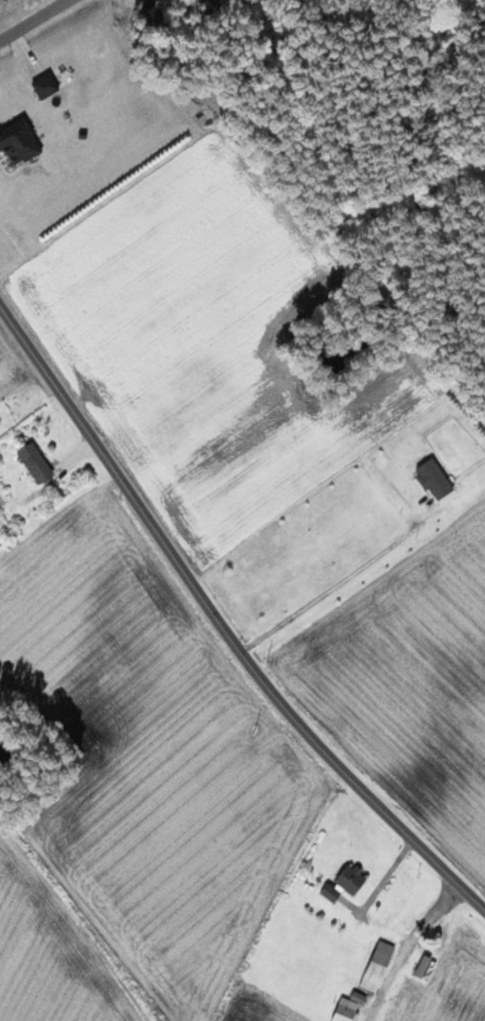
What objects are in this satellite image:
road: (34, 21)
building: (47, 85)
building: (21, 141)
building: (38, 463)
building: (436, 478)
road: (220, 620)
building: (347, 883)
road: (418, 951)
building: (381, 965)
building: (427, 966)
building: (351, 1007)

